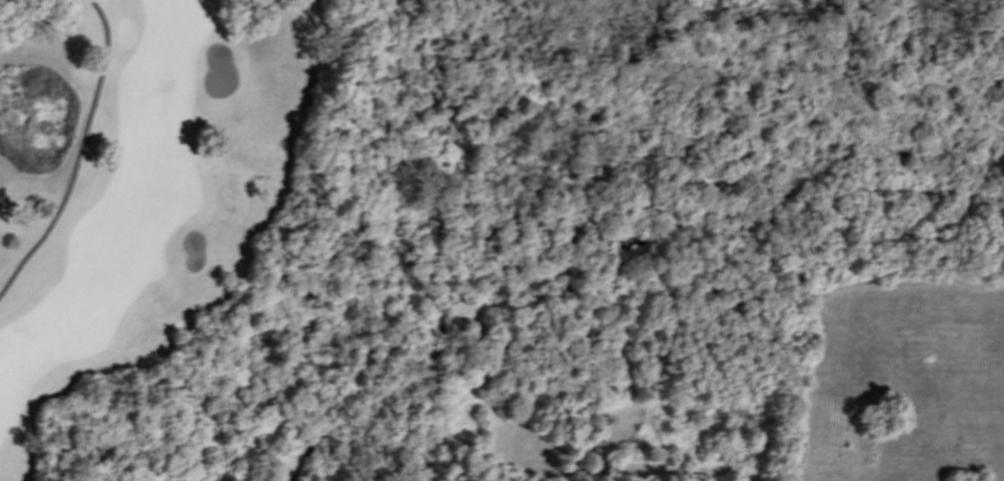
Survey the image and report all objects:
road: (79, 154)
park: (236, 197)

